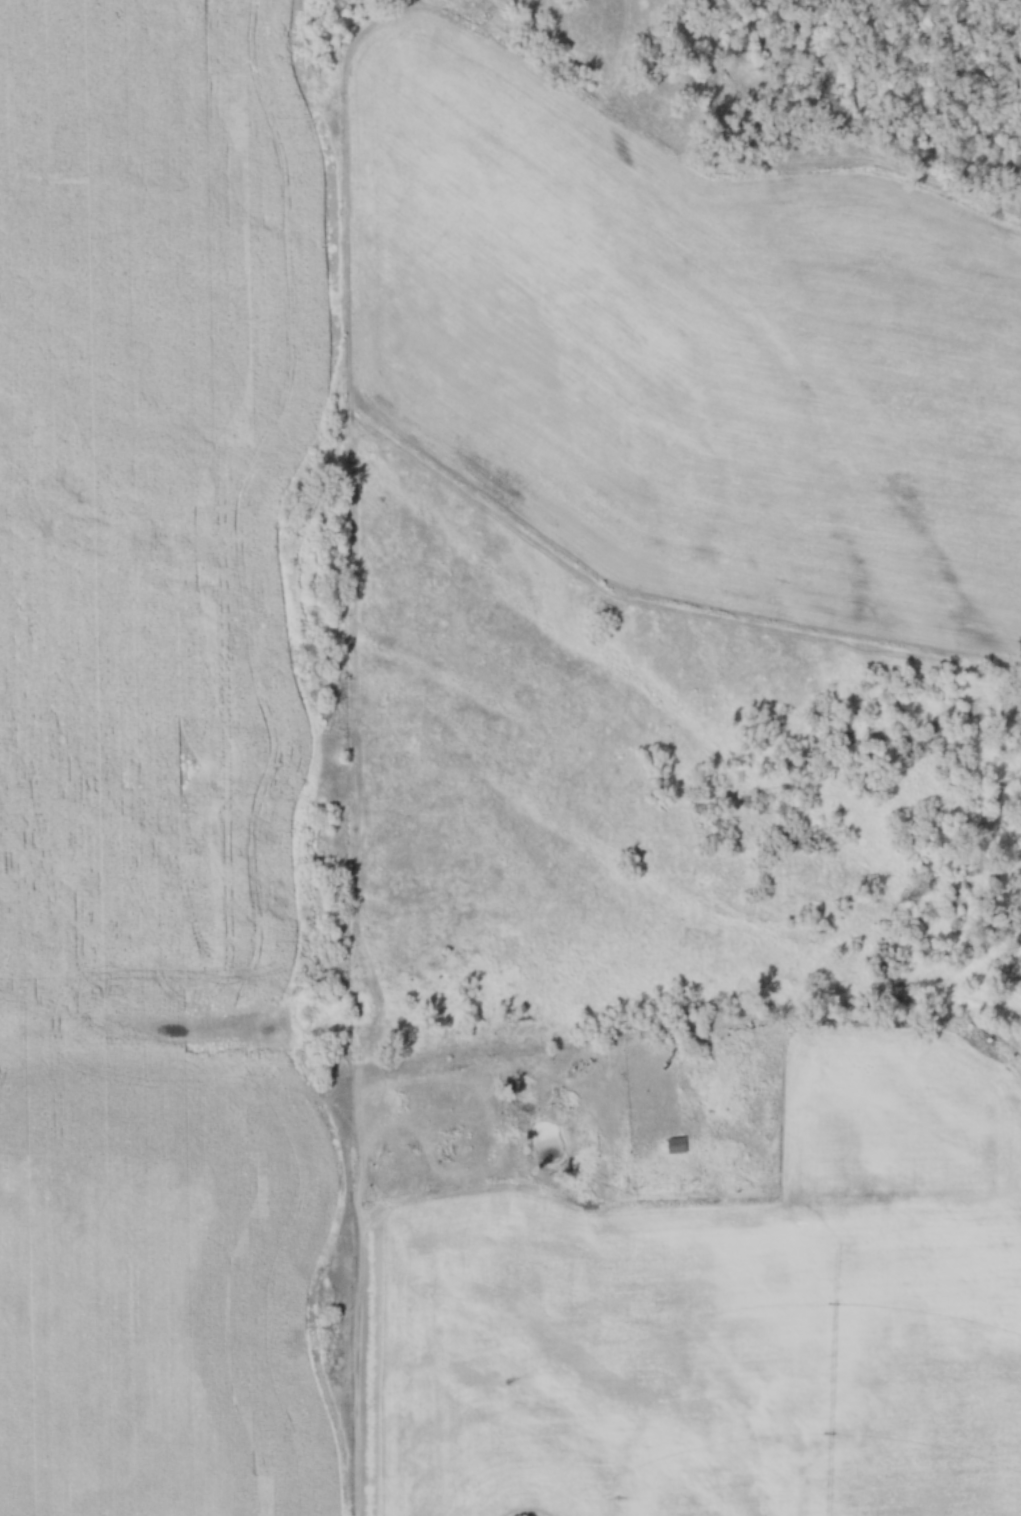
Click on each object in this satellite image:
building: (673, 1146)

